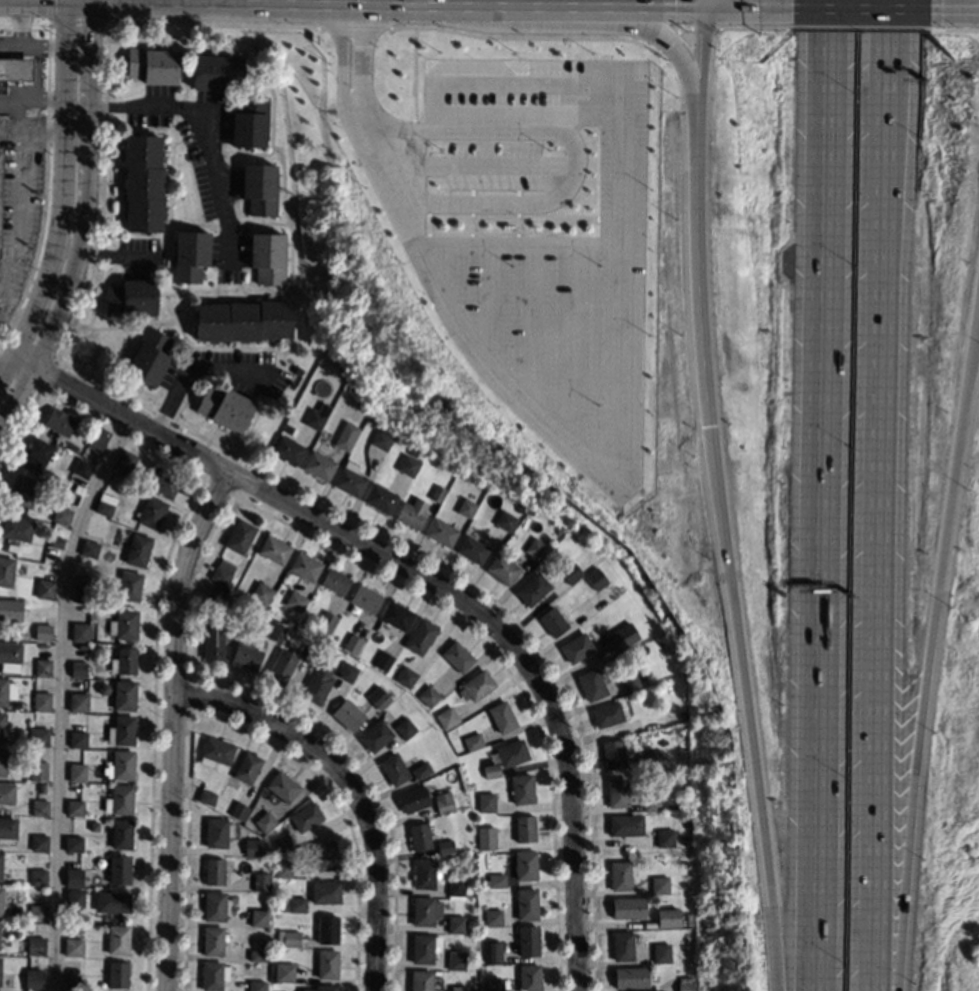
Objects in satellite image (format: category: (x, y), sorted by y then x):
road: (246, 2)
road: (352, 2)
road: (700, 4)
road: (418, 5)
road: (522, 6)
road: (629, 8)
road: (740, 8)
traffic signals: (700, 9)
road: (857, 9)
road: (957, 9)
road: (20, 23)
traffic signals: (88, 25)
road: (664, 38)
road: (32, 46)
building: (152, 65)
road: (353, 65)
building: (14, 70)
building: (217, 71)
road: (35, 85)
road: (76, 104)
road: (890, 104)
building: (250, 122)
road: (208, 123)
road: (76, 128)
road: (570, 142)
road: (381, 161)
building: (0, 171)
building: (143, 182)
building: (259, 188)
road: (85, 190)
road: (60, 195)
road: (411, 223)
road: (617, 239)
road: (66, 243)
road: (520, 249)
road: (114, 255)
building: (191, 255)
building: (268, 257)
parking lot: (554, 266)
building: (132, 297)
road: (485, 303)
building: (243, 321)
road: (531, 327)
road: (573, 345)
building: (149, 356)
road: (4, 358)
road: (18, 365)
road: (191, 369)
road: (13, 398)
building: (224, 408)
building: (317, 416)
road: (127, 418)
building: (59, 421)
building: (325, 435)
building: (346, 436)
building: (381, 440)
building: (97, 441)
building: (287, 449)
building: (36, 454)
building: (125, 460)
building: (318, 465)
building: (408, 465)
building: (82, 468)
building: (350, 479)
building: (163, 481)
road: (218, 485)
building: (23, 490)
building: (437, 494)
road: (815, 495)
building: (380, 498)
road: (720, 500)
building: (103, 508)
building: (467, 508)
building: (152, 512)
building: (62, 515)
building: (410, 515)
building: (506, 520)
building: (16, 528)
building: (559, 530)
building: (441, 532)
building: (240, 536)
building: (56, 541)
building: (535, 548)
building: (89, 549)
building: (138, 549)
building: (274, 549)
building: (472, 549)
building: (601, 550)
building: (305, 566)
building: (502, 568)
building: (6, 570)
road: (402, 571)
building: (222, 572)
building: (597, 578)
building: (567, 579)
building: (335, 581)
road: (196, 584)
building: (130, 585)
building: (45, 589)
building: (532, 589)
building: (81, 593)
building: (216, 593)
building: (261, 593)
building: (229, 594)
building: (365, 598)
road: (883, 600)
building: (110, 601)
building: (296, 601)
building: (247, 608)
building: (10, 610)
building: (396, 616)
building: (553, 621)
building: (326, 623)
building: (123, 624)
building: (79, 631)
building: (276, 631)
building: (42, 632)
building: (420, 637)
building: (617, 642)
building: (213, 643)
building: (352, 643)
building: (82, 646)
road: (932, 646)
building: (576, 647)
building: (10, 652)
building: (309, 656)
building: (457, 656)
building: (246, 657)
building: (383, 660)
building: (123, 661)
building: (281, 666)
building: (42, 667)
building: (78, 668)
road: (506, 668)
building: (347, 672)
building: (406, 677)
building: (630, 682)
building: (317, 683)
building: (591, 684)
building: (476, 686)
building: (103, 688)
building: (5, 691)
road: (190, 694)
building: (124, 695)
building: (429, 696)
road: (58, 698)
building: (378, 698)
building: (41, 701)
building: (77, 702)
building: (347, 715)
building: (607, 715)
building: (681, 715)
building: (502, 716)
building: (447, 718)
building: (2, 726)
road: (171, 726)
building: (404, 727)
building: (121, 730)
building: (77, 735)
building: (375, 736)
building: (38, 737)
building: (473, 742)
building: (215, 752)
building: (512, 752)
building: (615, 753)
building: (494, 757)
building: (655, 759)
building: (2, 761)
building: (120, 765)
building: (247, 767)
building: (393, 769)
building: (421, 770)
building: (491, 770)
building: (37, 771)
building: (76, 772)
road: (366, 782)
road: (351, 785)
building: (282, 786)
building: (41, 787)
building: (522, 789)
building: (616, 792)
building: (6, 793)
building: (206, 797)
building: (413, 799)
building: (119, 800)
building: (686, 801)
building: (486, 802)
building: (651, 802)
building: (443, 803)
building: (74, 807)
building: (39, 808)
road: (340, 809)
building: (238, 810)
building: (305, 816)
building: (686, 817)
building: (264, 821)
building: (625, 825)
building: (94, 826)
building: (7, 829)
building: (524, 829)
building: (215, 833)
building: (121, 834)
building: (418, 836)
building: (664, 837)
building: (485, 838)
building: (495, 841)
building: (281, 842)
building: (39, 843)
building: (73, 844)
building: (253, 847)
building: (444, 847)
road: (573, 847)
road: (186, 848)
building: (324, 855)
building: (1, 865)
building: (525, 865)
building: (282, 868)
building: (118, 870)
building: (213, 871)
building: (425, 873)
building: (620, 875)
building: (38, 877)
building: (74, 877)
building: (496, 880)
building: (261, 882)
building: (484, 883)
building: (660, 885)
building: (455, 886)
building: (325, 892)
building: (74, 899)
building: (1, 900)
building: (678, 900)
building: (112, 902)
building: (296, 904)
building: (526, 904)
building: (214, 906)
building: (628, 907)
building: (424, 910)
building: (37, 912)
building: (257, 917)
building: (492, 917)
building: (667, 918)
building: (455, 923)
building: (327, 929)
building: (678, 936)
building: (290, 938)
building: (118, 939)
building: (213, 940)
building: (528, 941)
building: (35, 945)
building: (622, 946)
building: (73, 947)
building: (423, 947)
building: (491, 952)
building: (661, 953)
building: (257, 955)
building: (456, 960)
building: (326, 963)
building: (283, 972)
building: (114, 974)
building: (213, 975)
building: (529, 977)
building: (630, 977)
building: (33, 980)
building: (420, 980)
building: (0, 981)
building: (70, 983)
building: (492, 984)
building: (685, 984)
building: (256, 985)
building: (322, 988)
building: (458, 988)

